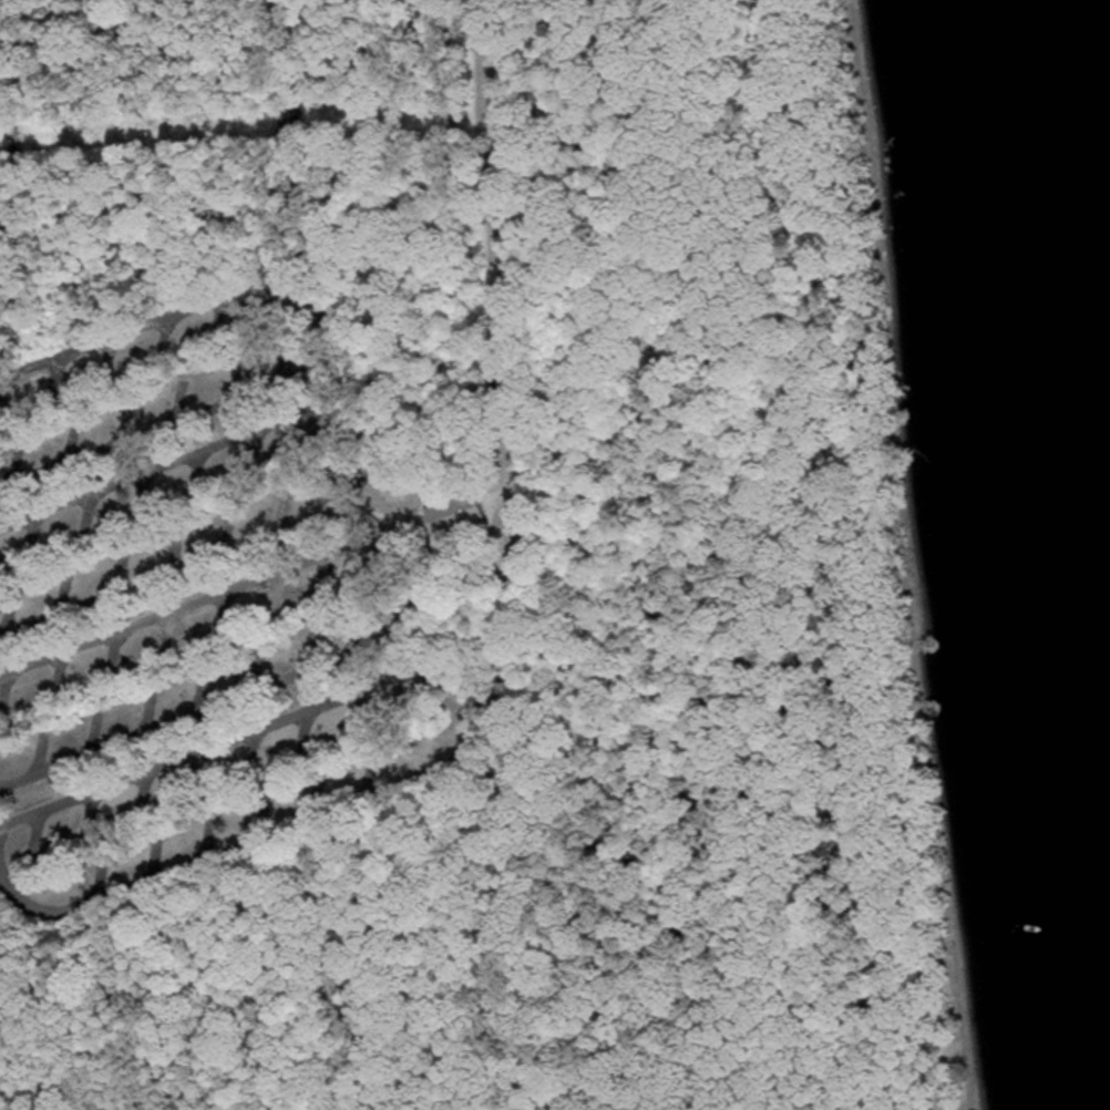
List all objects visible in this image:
road: (325, 332)
building: (325, 431)
road: (371, 460)
building: (481, 501)
park: (523, 568)
road: (423, 590)
road: (469, 737)
building: (374, 772)
road: (500, 921)

